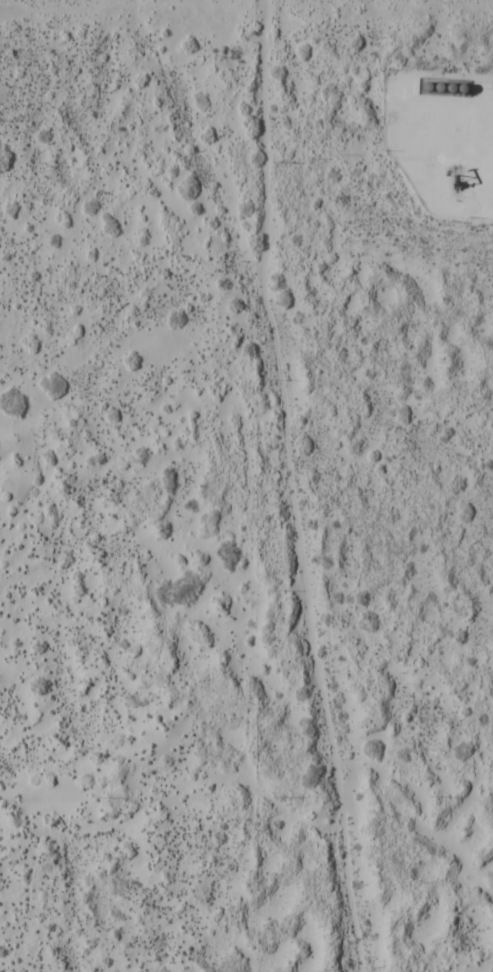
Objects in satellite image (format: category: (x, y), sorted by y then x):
road: (448, 123)

